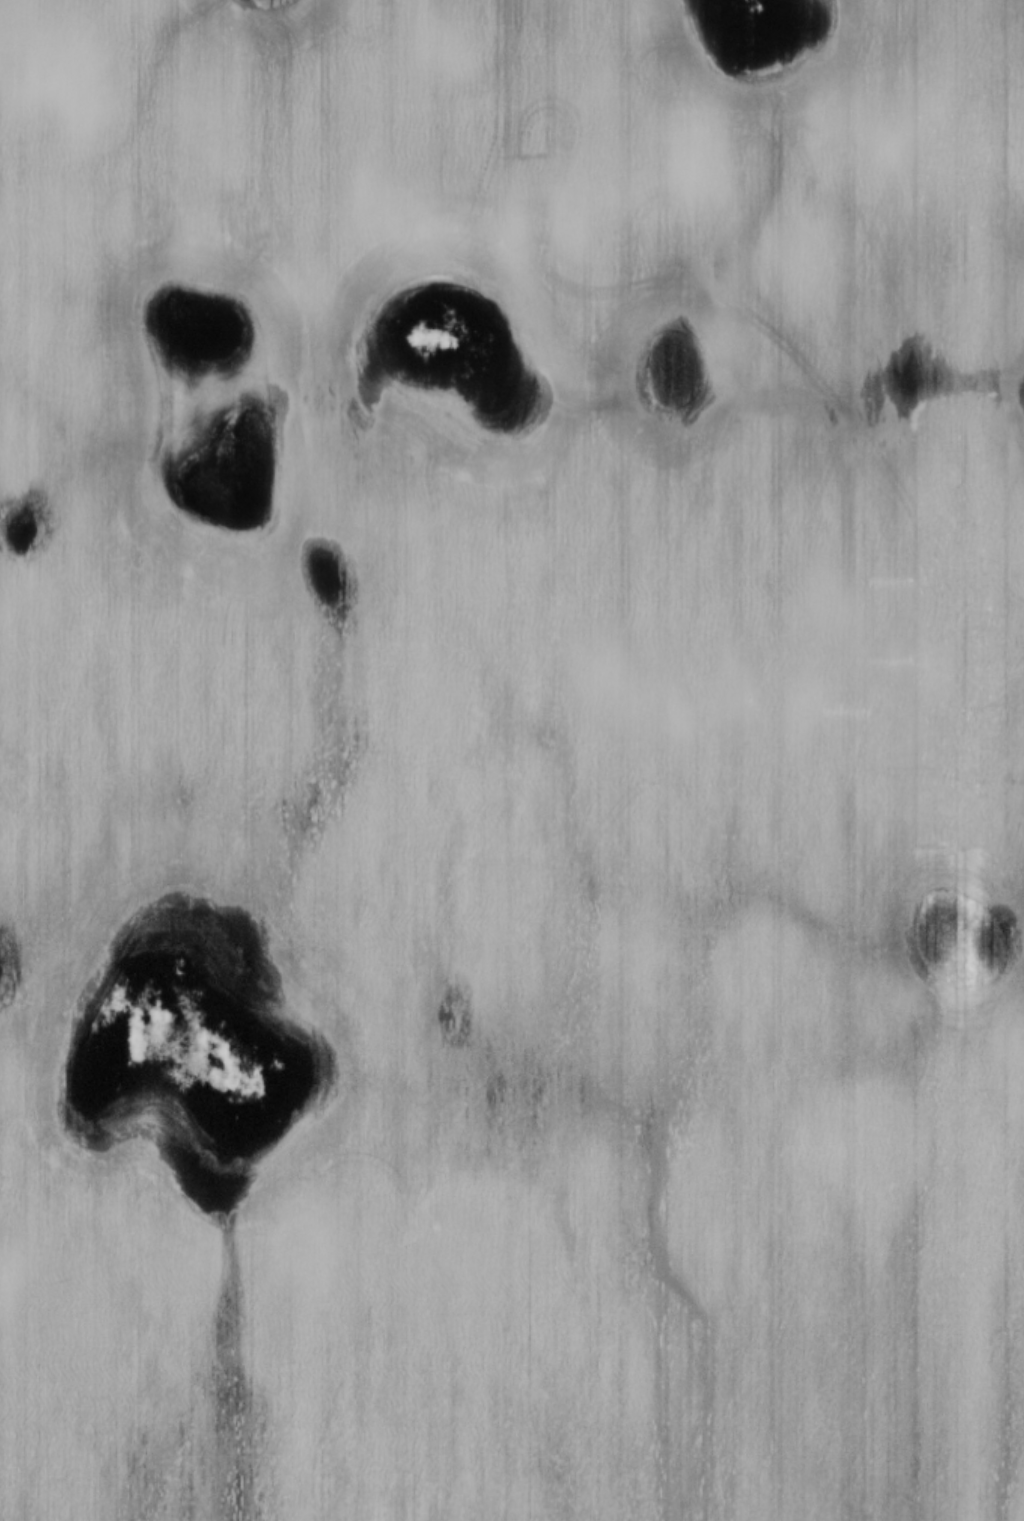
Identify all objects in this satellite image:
road: (956, 455)

